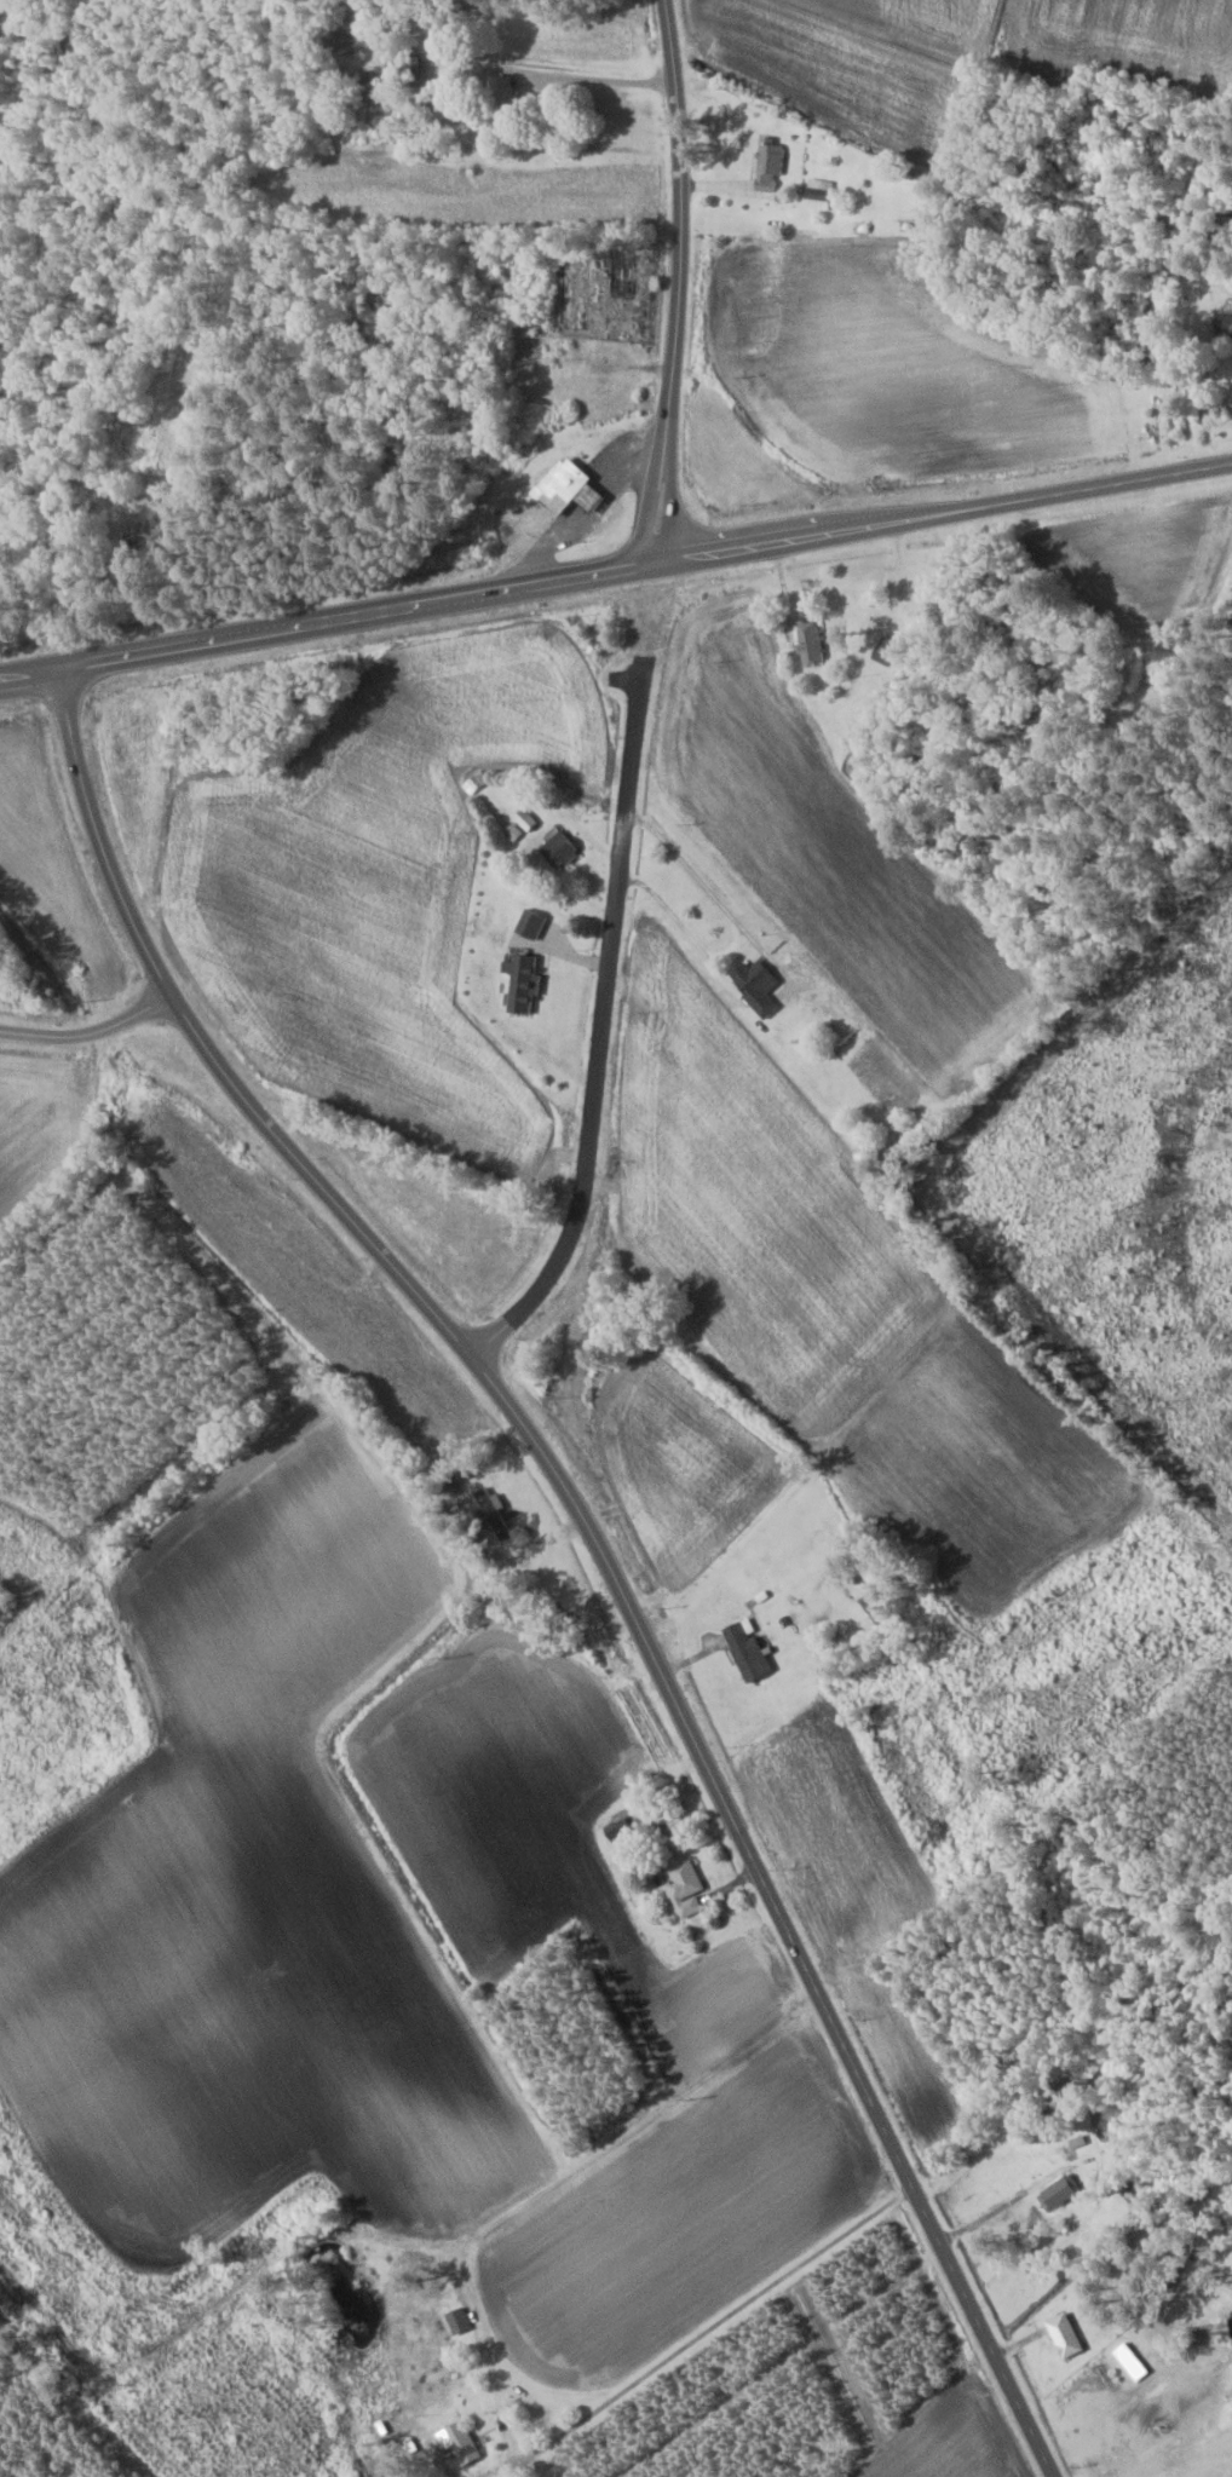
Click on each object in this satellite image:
building: (328, 42)
building: (399, 67)
building: (496, 97)
building: (376, 106)
building: (766, 165)
building: (817, 194)
building: (617, 273)
road: (679, 281)
building: (577, 293)
building: (1221, 326)
building: (565, 489)
road: (944, 512)
road: (358, 615)
building: (807, 644)
road: (30, 672)
building: (474, 782)
building: (522, 818)
building: (555, 848)
building: (749, 980)
road: (598, 1029)
road: (91, 1032)
building: (906, 1141)
building: (490, 1514)
road: (593, 1542)
building: (870, 1606)
building: (742, 1649)
building: (616, 1825)
building: (680, 1888)
building: (1055, 2193)
road: (724, 2322)
building: (1061, 2335)
building: (457, 2442)

